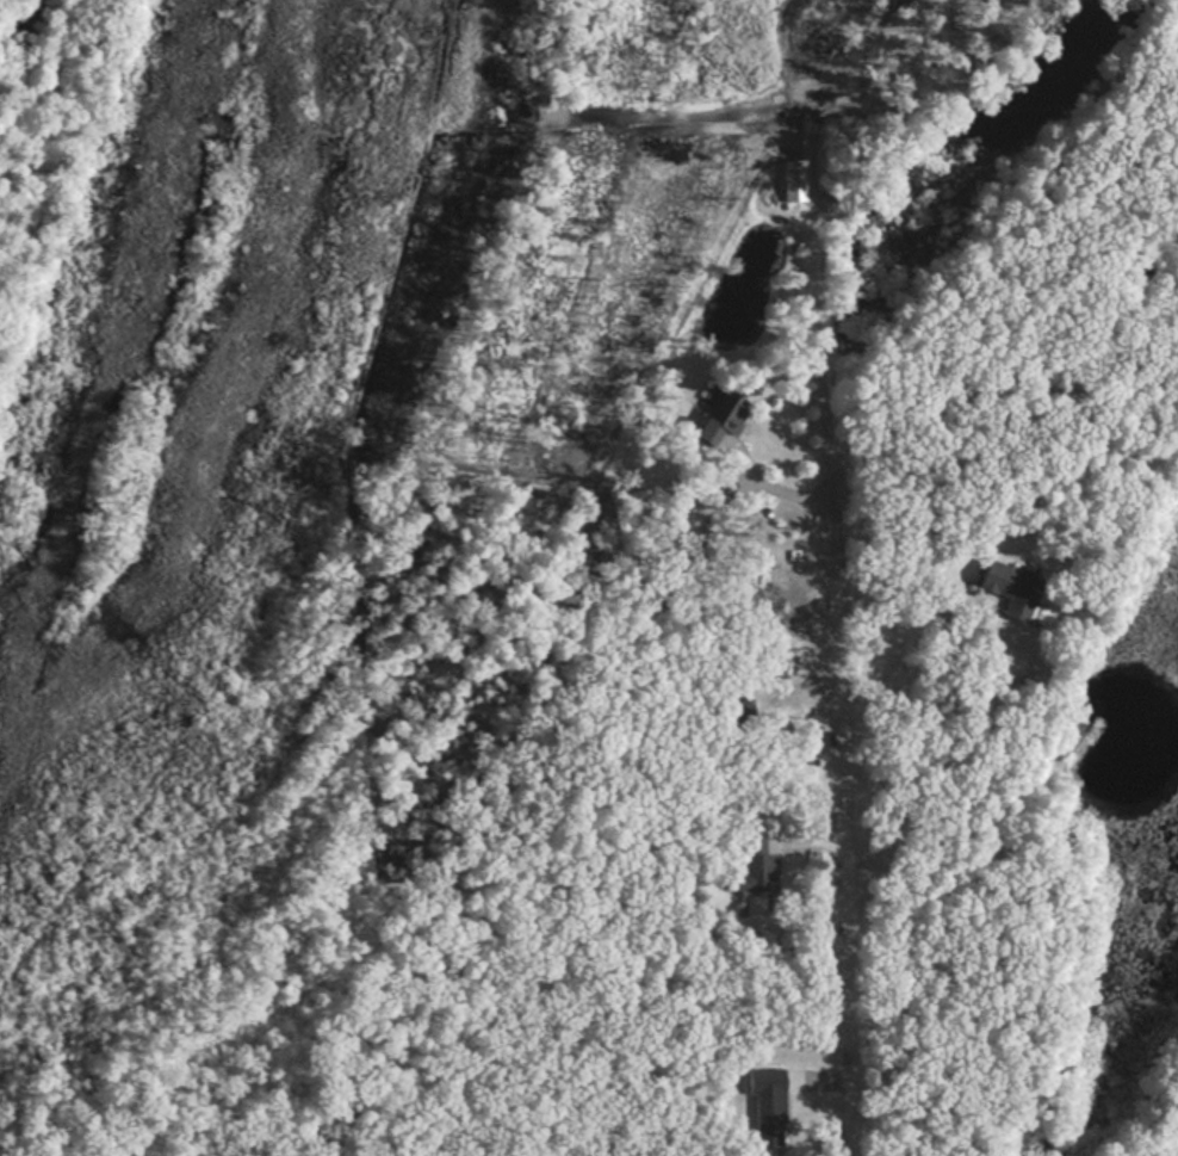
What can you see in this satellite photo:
road: (112, 55)
road: (141, 106)
building: (795, 180)
building: (721, 419)
building: (1013, 586)
road: (842, 741)
building: (755, 867)
building: (769, 1106)

